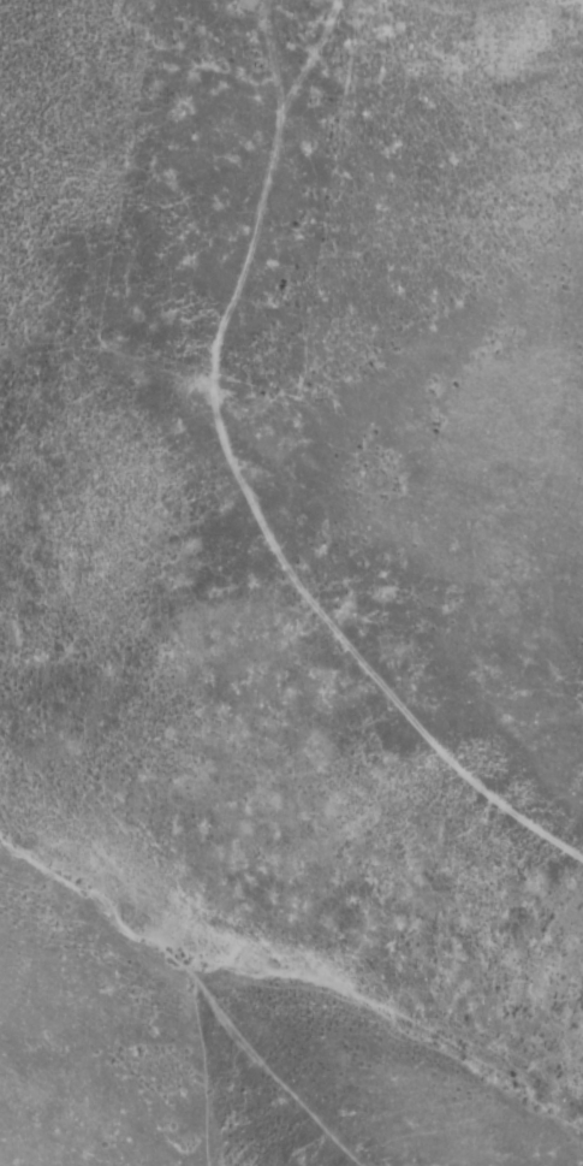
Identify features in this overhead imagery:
road: (246, 484)

